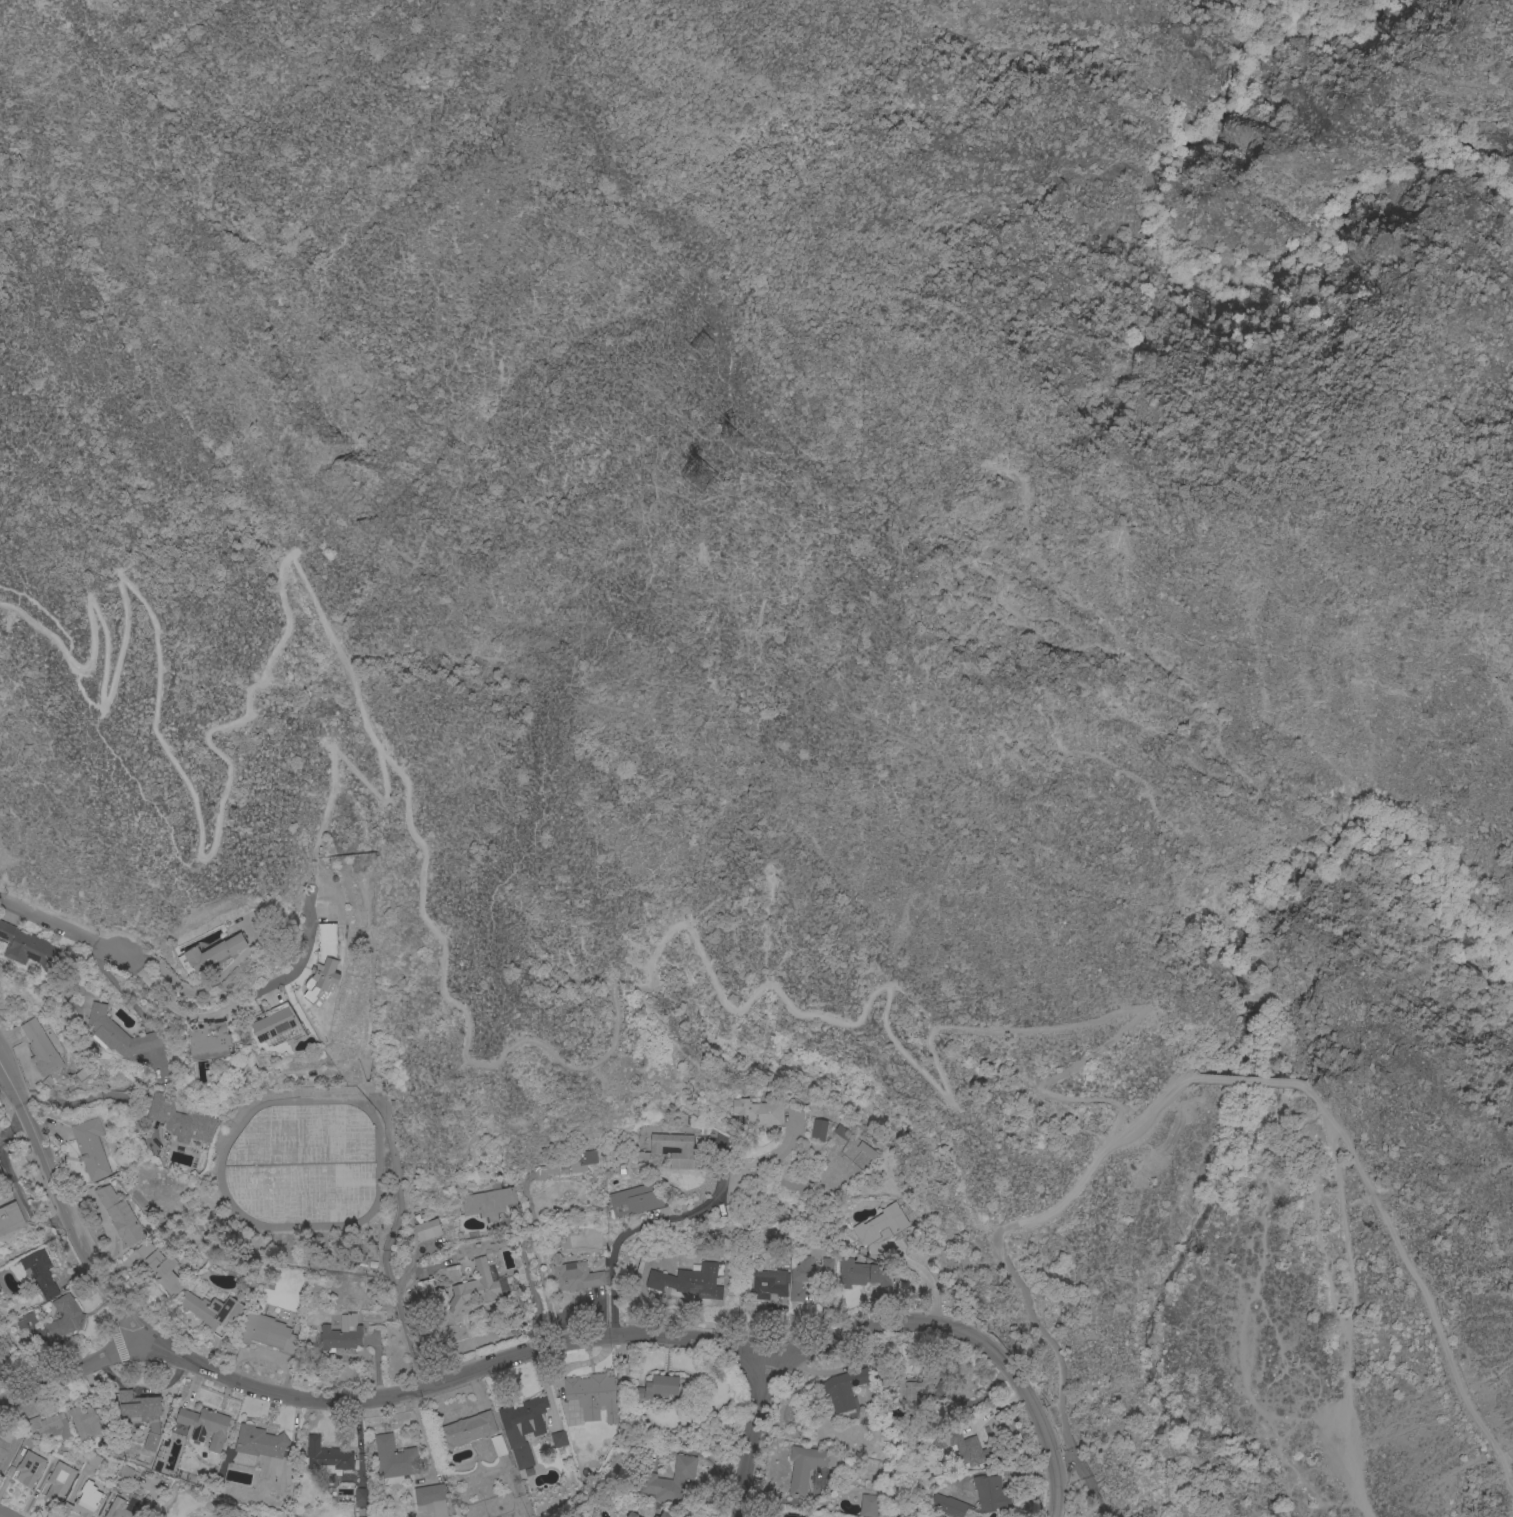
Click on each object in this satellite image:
road: (561, 13)
power tower: (493, 156)
road: (565, 162)
road: (728, 310)
power tower: (702, 345)
power tower: (734, 441)
power tower: (698, 474)
road: (44, 613)
road: (542, 742)
road: (329, 755)
road: (60, 928)
road: (434, 932)
building: (28, 947)
building: (215, 952)
building: (324, 963)
road: (1247, 964)
road: (241, 1002)
building: (278, 1025)
building: (120, 1033)
building: (210, 1041)
building: (41, 1047)
road: (1246, 1081)
road: (1311, 1095)
building: (759, 1112)
building: (181, 1120)
building: (818, 1130)
building: (843, 1133)
building: (91, 1148)
building: (686, 1150)
building: (868, 1150)
building: (580, 1161)
building: (303, 1164)
building: (545, 1170)
building: (1, 1175)
road: (1326, 1185)
building: (636, 1199)
building: (488, 1202)
road: (58, 1203)
building: (120, 1215)
road: (742, 1217)
building: (10, 1218)
road: (649, 1225)
building: (881, 1228)
building: (428, 1229)
building: (771, 1235)
road: (1001, 1240)
building: (160, 1268)
building: (40, 1272)
building: (861, 1274)
building: (576, 1277)
building: (809, 1277)
building: (703, 1279)
building: (657, 1280)
building: (768, 1283)
building: (475, 1287)
road: (532, 1287)
building: (425, 1288)
building: (0, 1290)
road: (1429, 1293)
road: (649, 1300)
building: (214, 1313)
road: (1349, 1315)
building: (65, 1316)
building: (26, 1320)
building: (268, 1333)
building: (341, 1334)
road: (969, 1334)
road: (10, 1381)
building: (657, 1386)
building: (843, 1387)
building: (919, 1388)
building: (592, 1394)
road: (367, 1395)
building: (138, 1404)
building: (83, 1418)
building: (51, 1425)
building: (204, 1425)
building: (466, 1428)
building: (513, 1433)
building: (558, 1438)
road: (752, 1439)
building: (151, 1440)
building: (259, 1441)
building: (959, 1445)
building: (7, 1446)
building: (326, 1453)
building: (393, 1456)
building: (805, 1465)
building: (29, 1467)
building: (61, 1475)
building: (671, 1481)
building: (990, 1491)
building: (360, 1496)
building: (431, 1497)
building: (87, 1498)
building: (947, 1504)
building: (867, 1505)
building: (122, 1507)
road: (4, 1514)
building: (631, 1514)
building: (665, 1514)
building: (361, 1516)
road: (1056, 1516)

